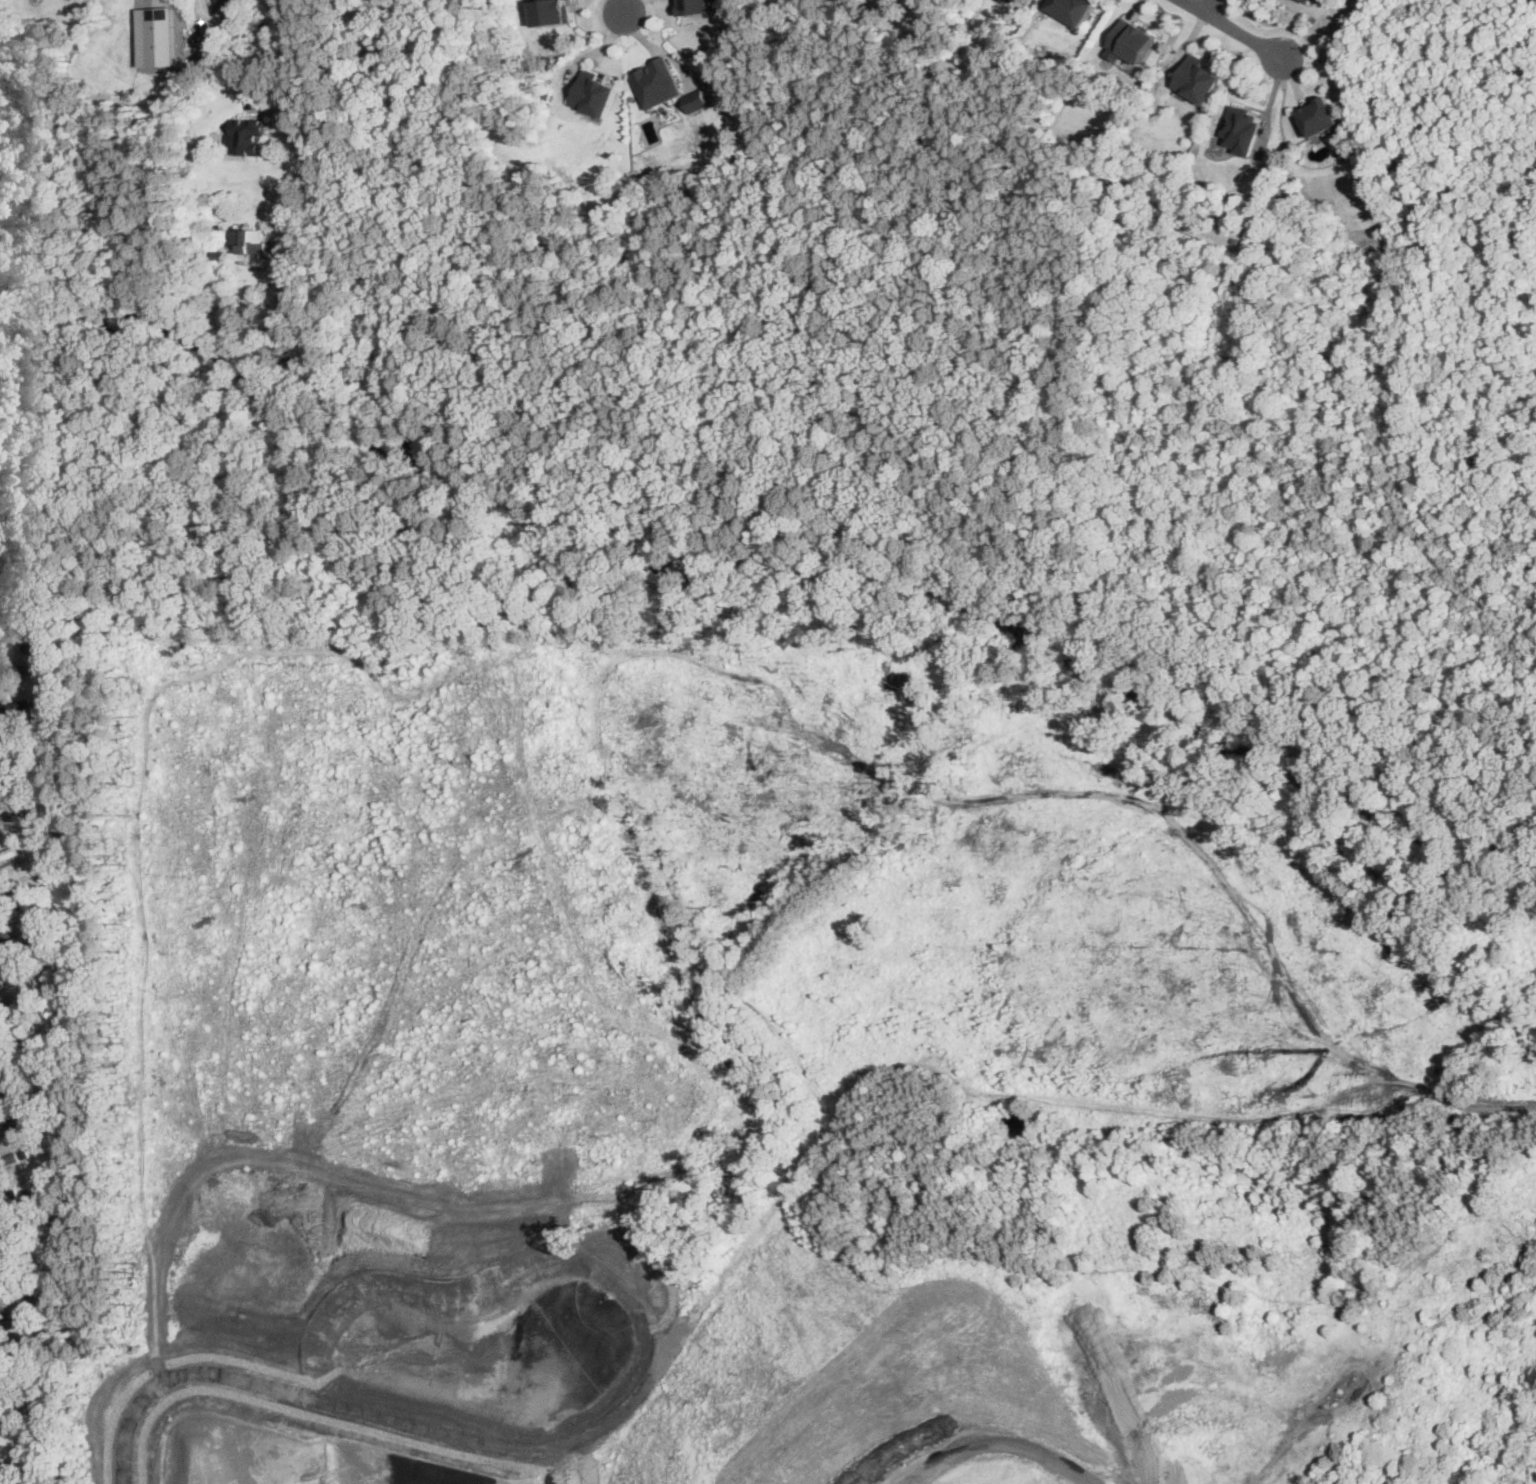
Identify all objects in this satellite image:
building: (1006, 0)
building: (1024, 1)
building: (1305, 1)
road: (1203, 4)
building: (695, 6)
building: (227, 7)
building: (1073, 9)
road: (623, 10)
building: (551, 11)
road: (1236, 29)
building: (156, 35)
building: (200, 39)
building: (1131, 41)
building: (206, 54)
building: (1199, 78)
building: (657, 82)
building: (595, 92)
building: (697, 100)
building: (1321, 117)
road: (304, 118)
building: (1242, 128)
building: (247, 133)
building: (248, 239)
building: (10, 852)
building: (12, 938)
building: (1, 1245)
building: (0, 1395)
road: (1003, 1441)

